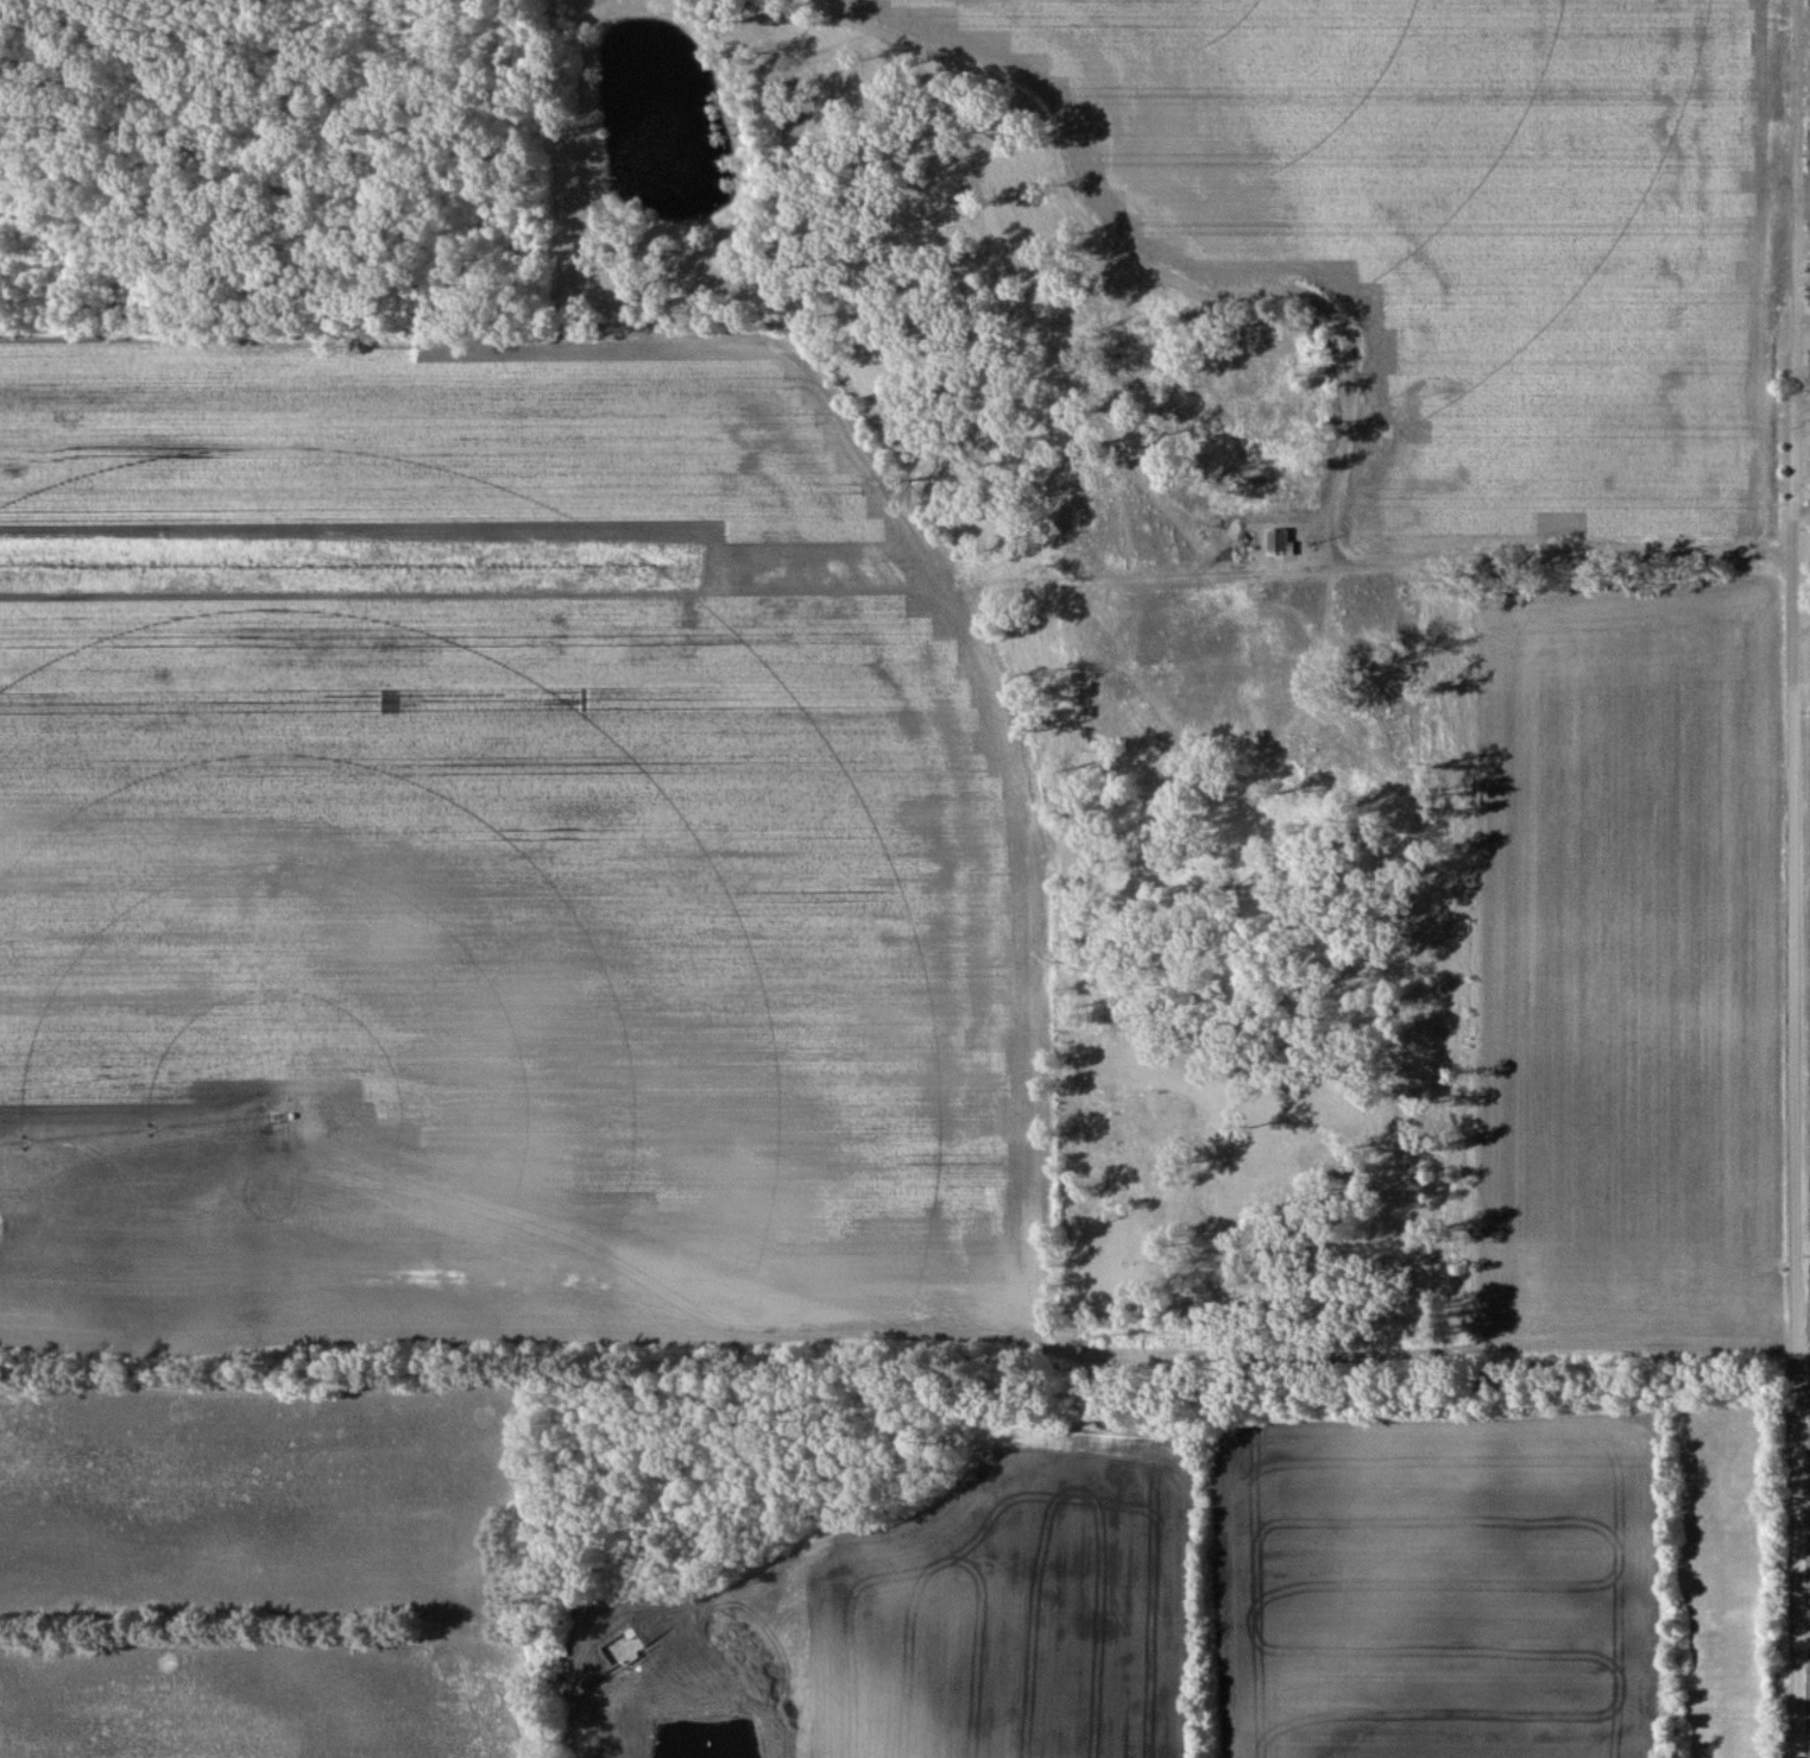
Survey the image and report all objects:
building: (1279, 541)
road: (1790, 549)
road: (1557, 554)
road: (1789, 1159)

